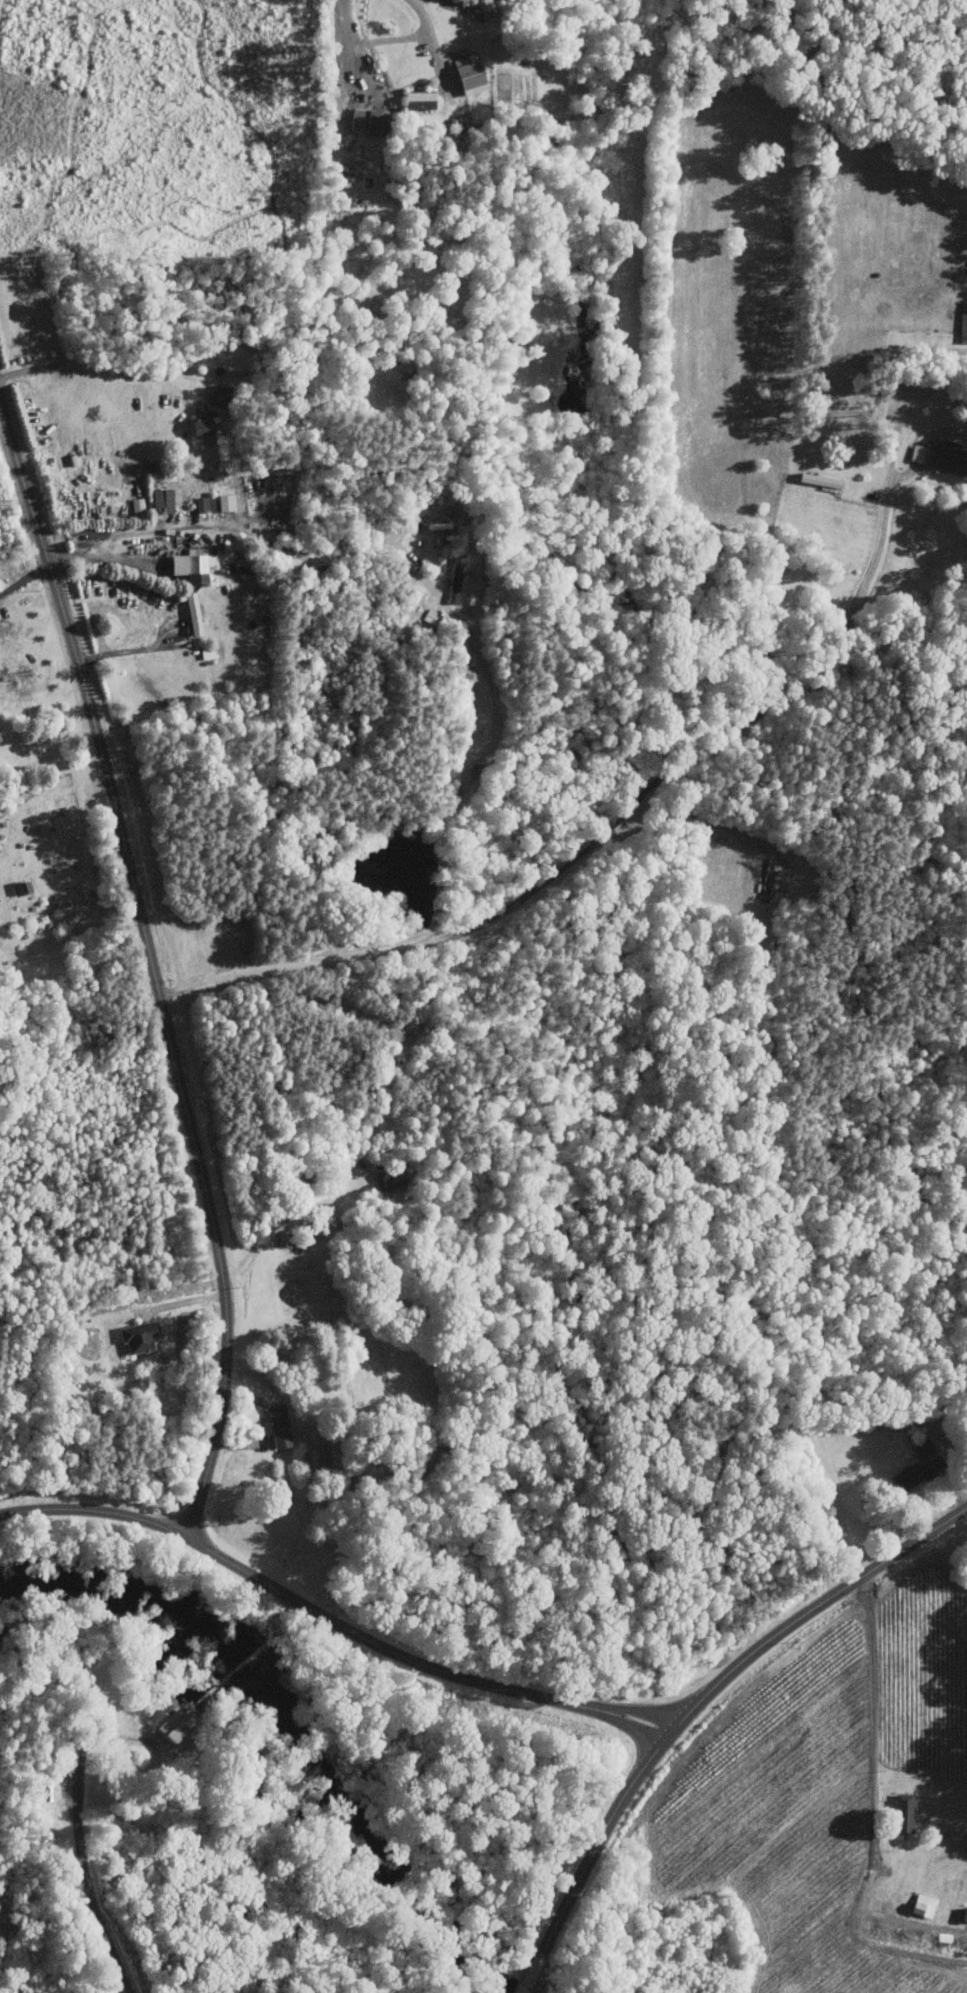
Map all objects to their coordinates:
road: (387, 40)
building: (465, 76)
building: (417, 99)
building: (365, 120)
building: (962, 322)
road: (102, 367)
building: (199, 431)
building: (941, 455)
building: (159, 499)
building: (215, 501)
building: (136, 504)
road: (264, 538)
building: (190, 564)
road: (24, 576)
building: (456, 576)
building: (192, 612)
road: (130, 650)
road: (838, 659)
road: (478, 773)
road: (679, 817)
road: (153, 963)
building: (392, 1178)
road: (182, 1302)
building: (136, 1337)
building: (277, 1425)
building: (923, 1448)
building: (318, 1457)
building: (908, 1475)
road: (330, 1618)
road: (706, 1693)
building: (169, 1734)
building: (42, 1790)
road: (878, 1813)
building: (902, 1814)
road: (84, 1872)
road: (530, 1978)

